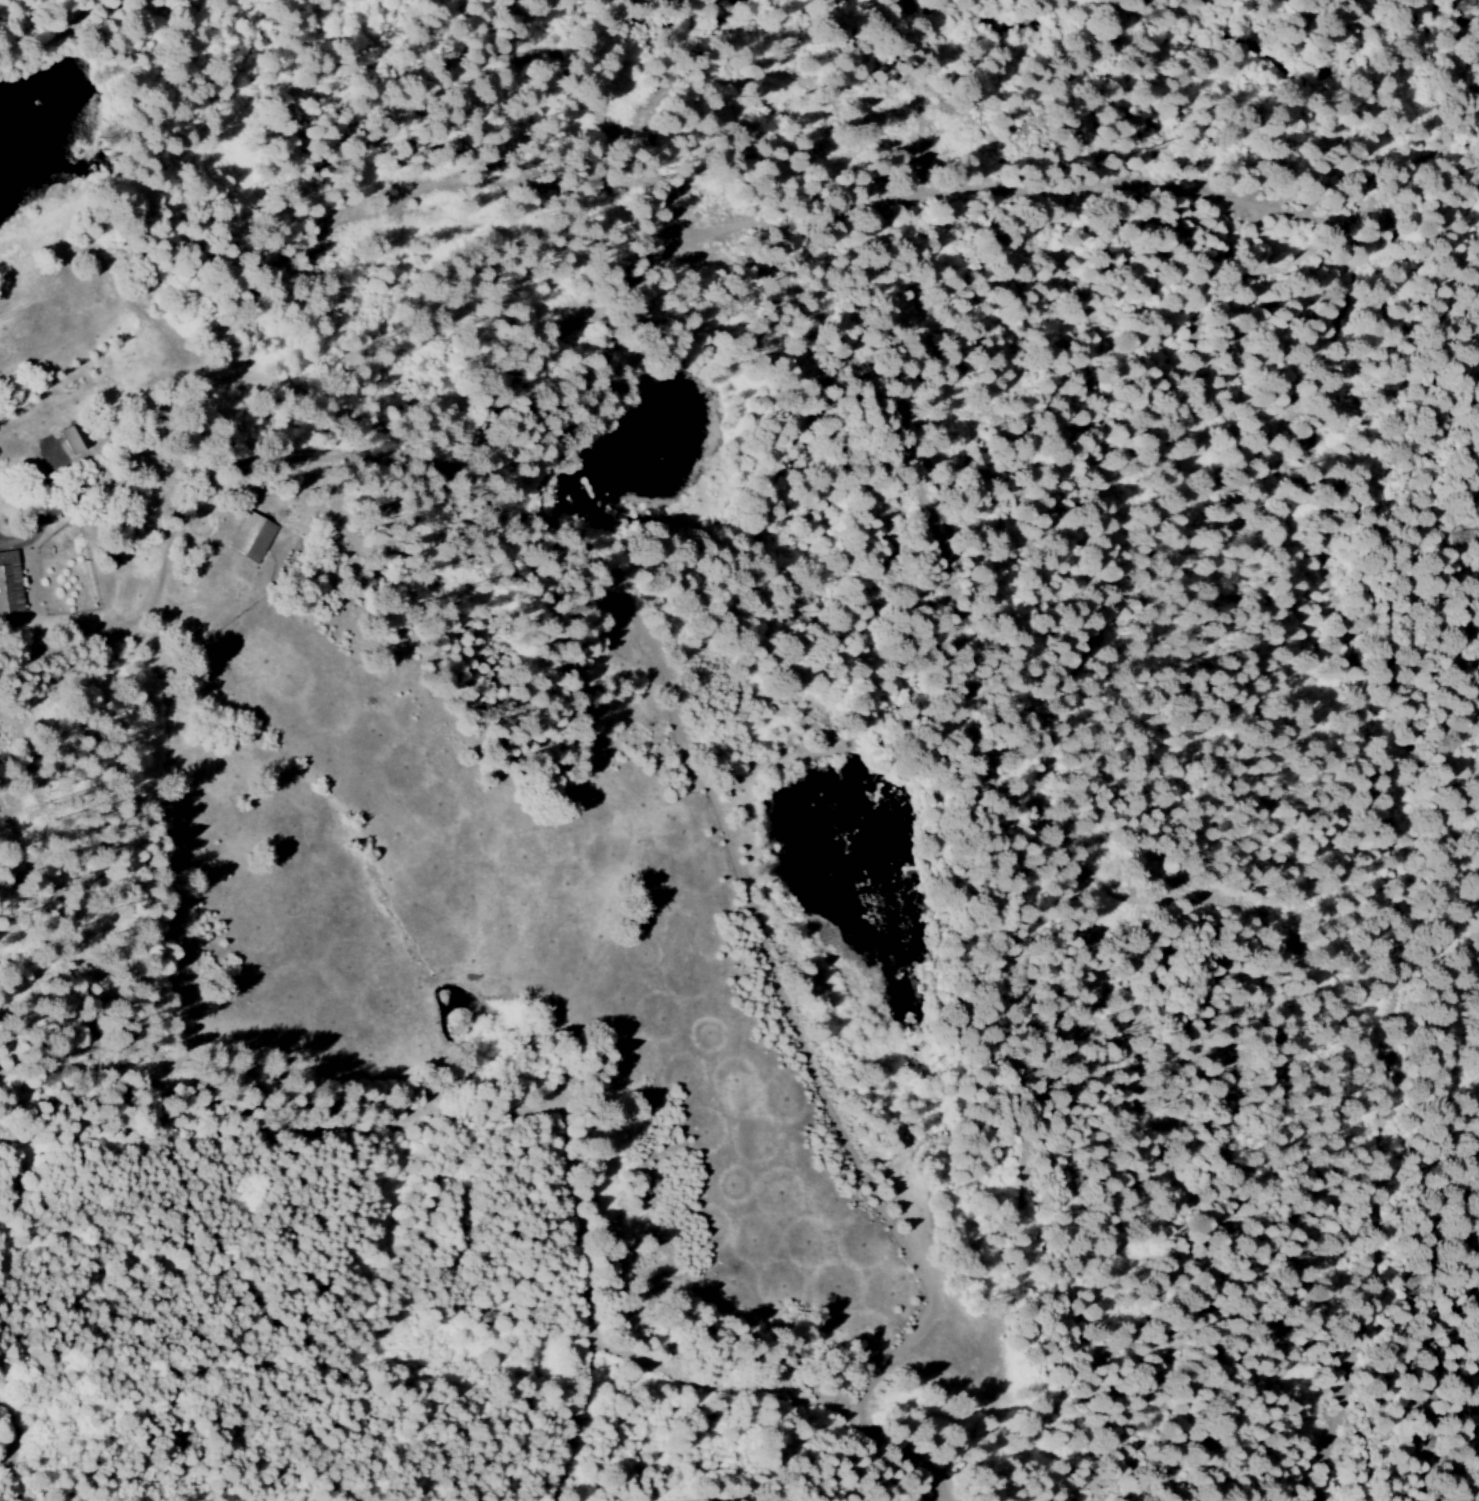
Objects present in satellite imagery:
building: (74, 436)
building: (252, 536)
building: (10, 583)
road: (705, 883)

